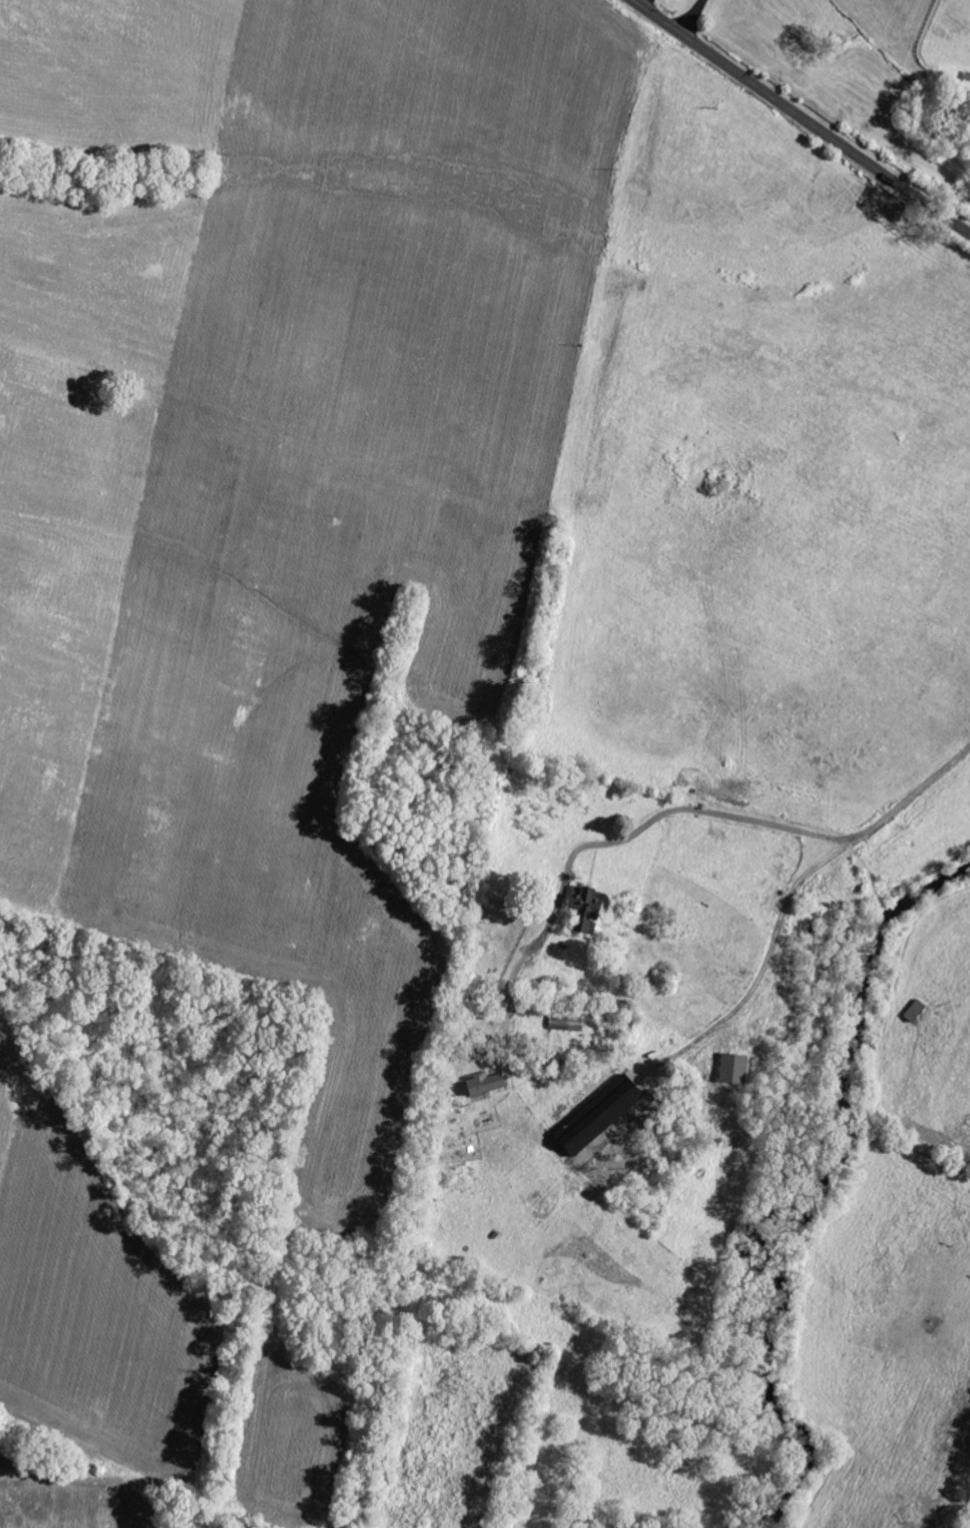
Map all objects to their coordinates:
road: (645, 3)
road: (690, 16)
road: (800, 118)
road: (684, 811)
road: (768, 953)
building: (729, 1069)
building: (490, 1083)
building: (605, 1115)

